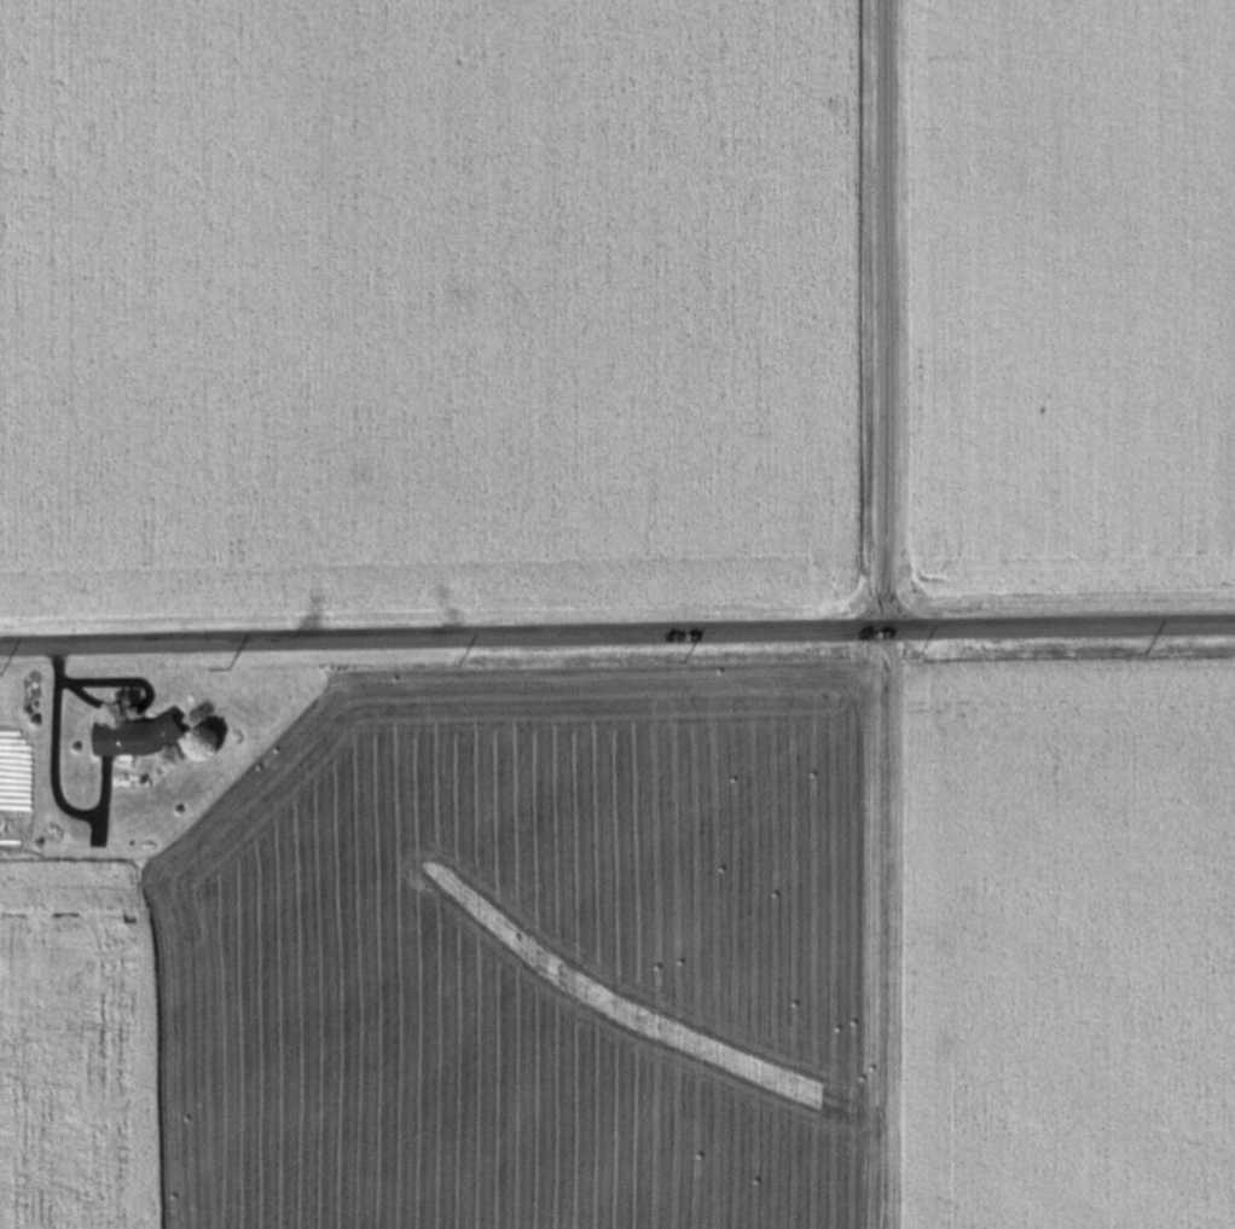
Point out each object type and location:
road: (859, 314)
road: (616, 633)
building: (133, 737)

